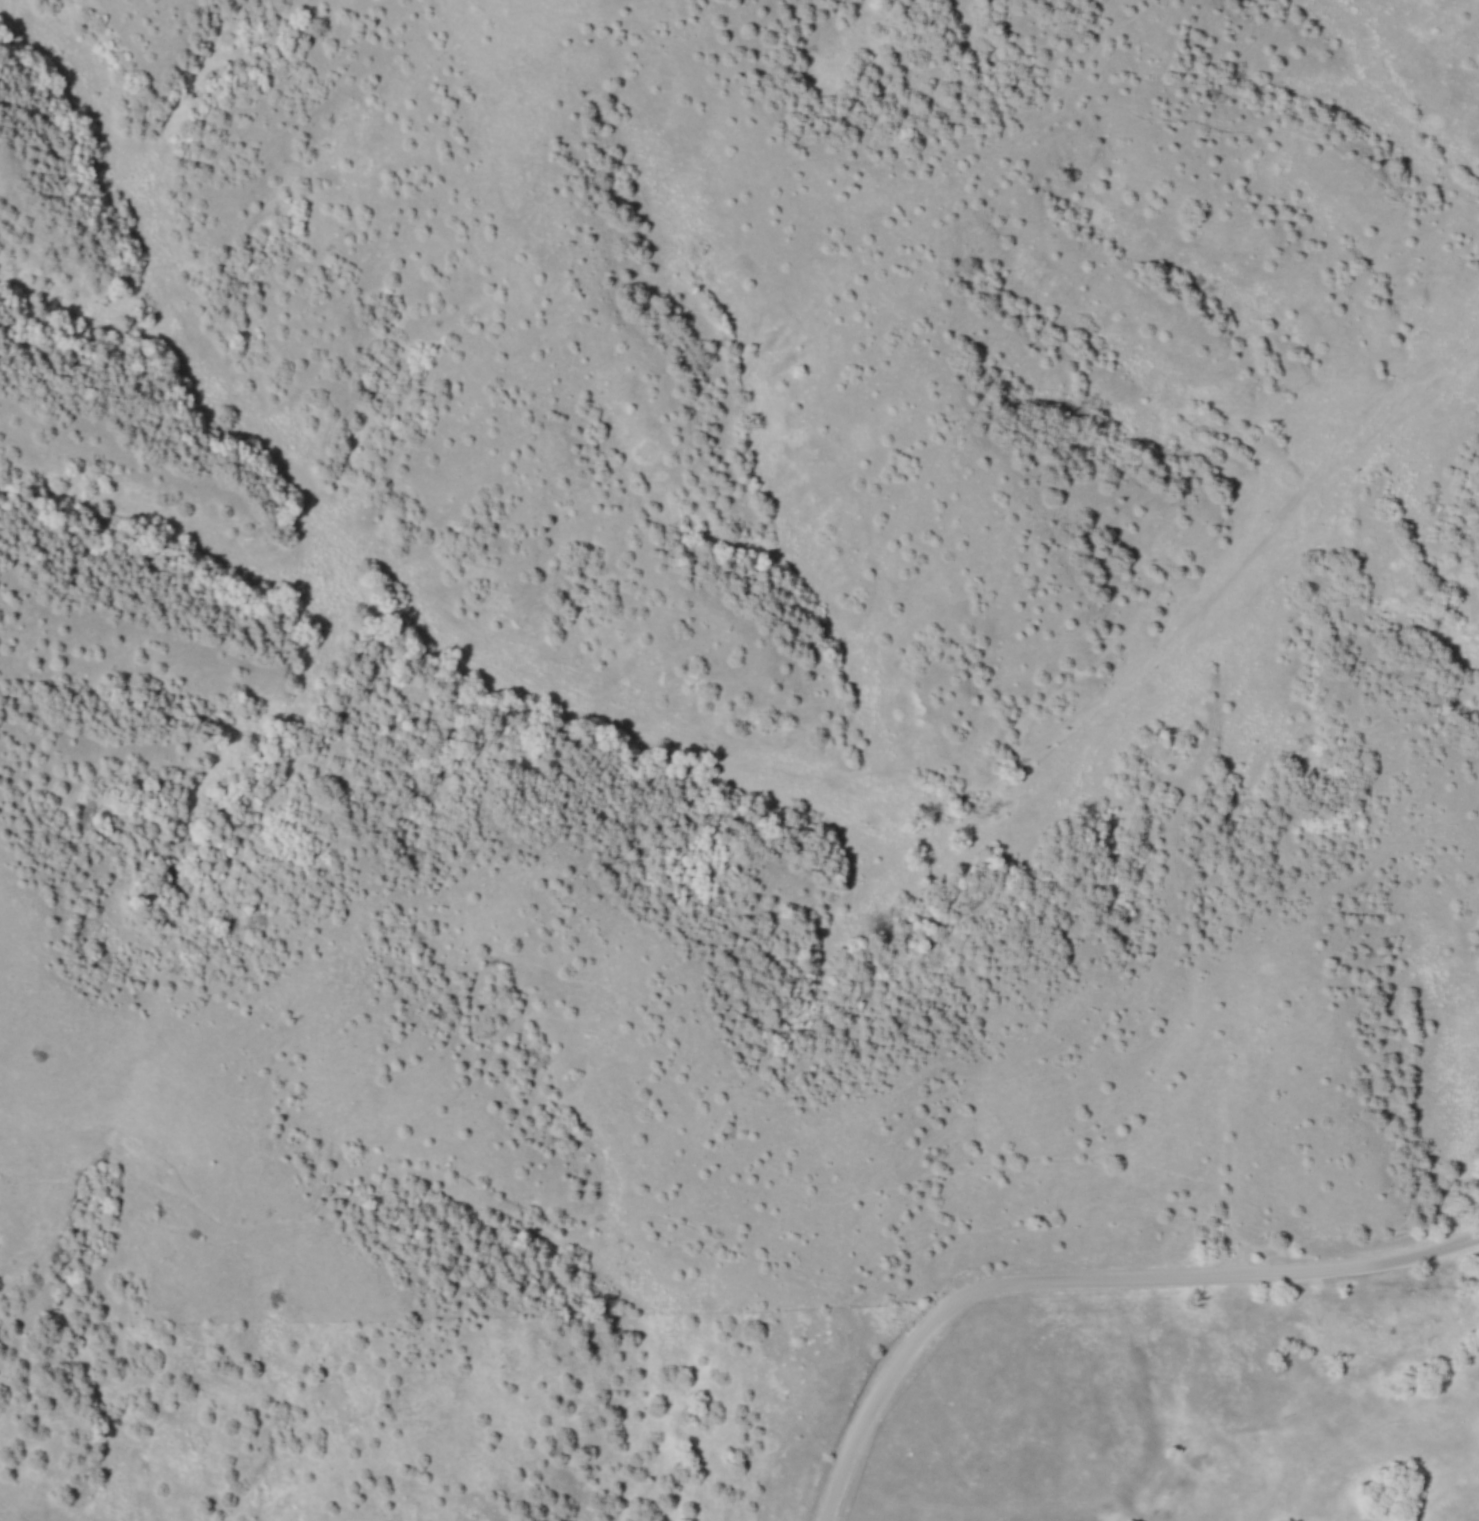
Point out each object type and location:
road: (1092, 1280)

